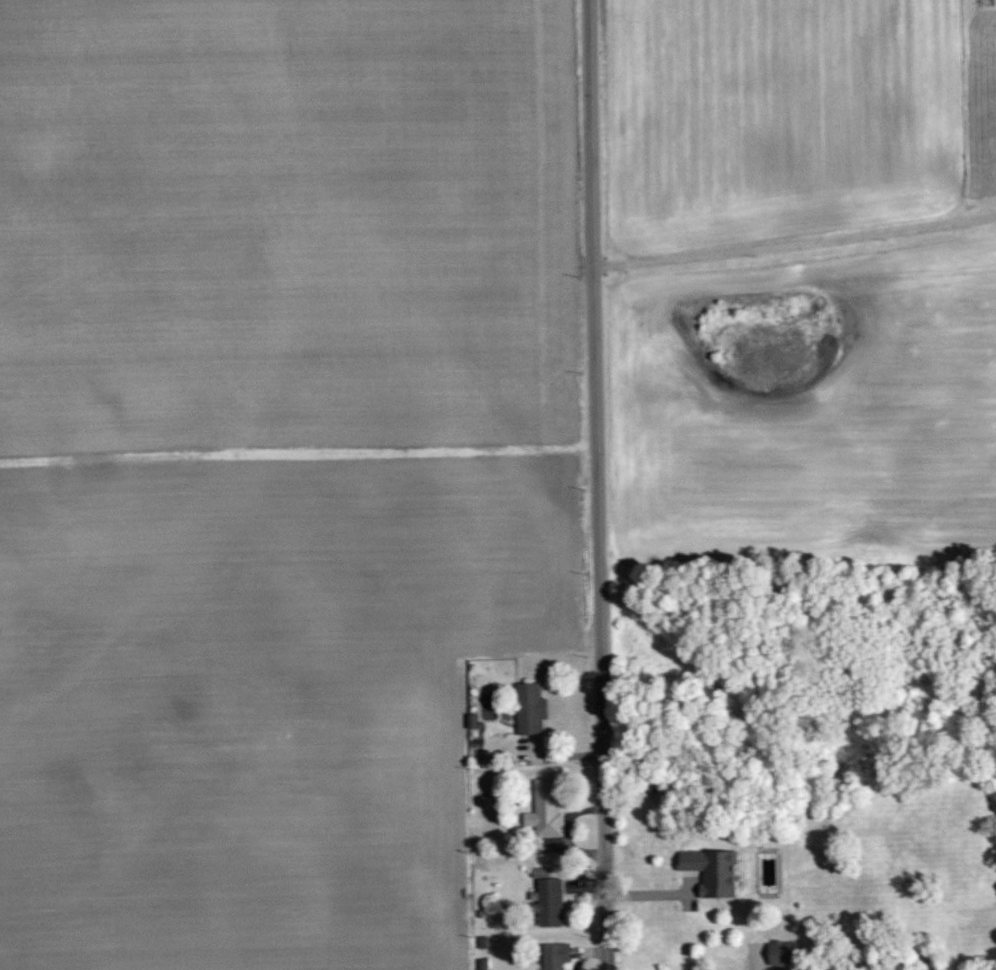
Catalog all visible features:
road: (795, 245)
road: (595, 327)
building: (529, 708)
building: (472, 721)
road: (605, 787)
building: (544, 810)
building: (712, 872)
building: (547, 898)
road: (608, 944)
building: (781, 952)
building: (554, 955)

